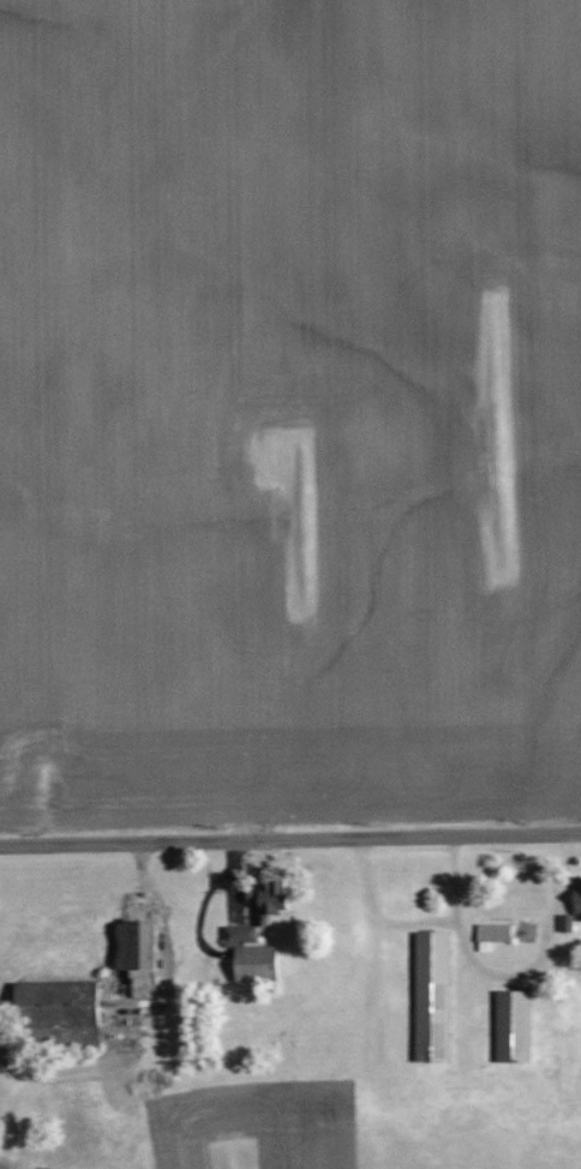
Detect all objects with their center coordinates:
road: (290, 837)
building: (571, 904)
building: (492, 931)
building: (253, 935)
building: (430, 995)
building: (510, 1025)

